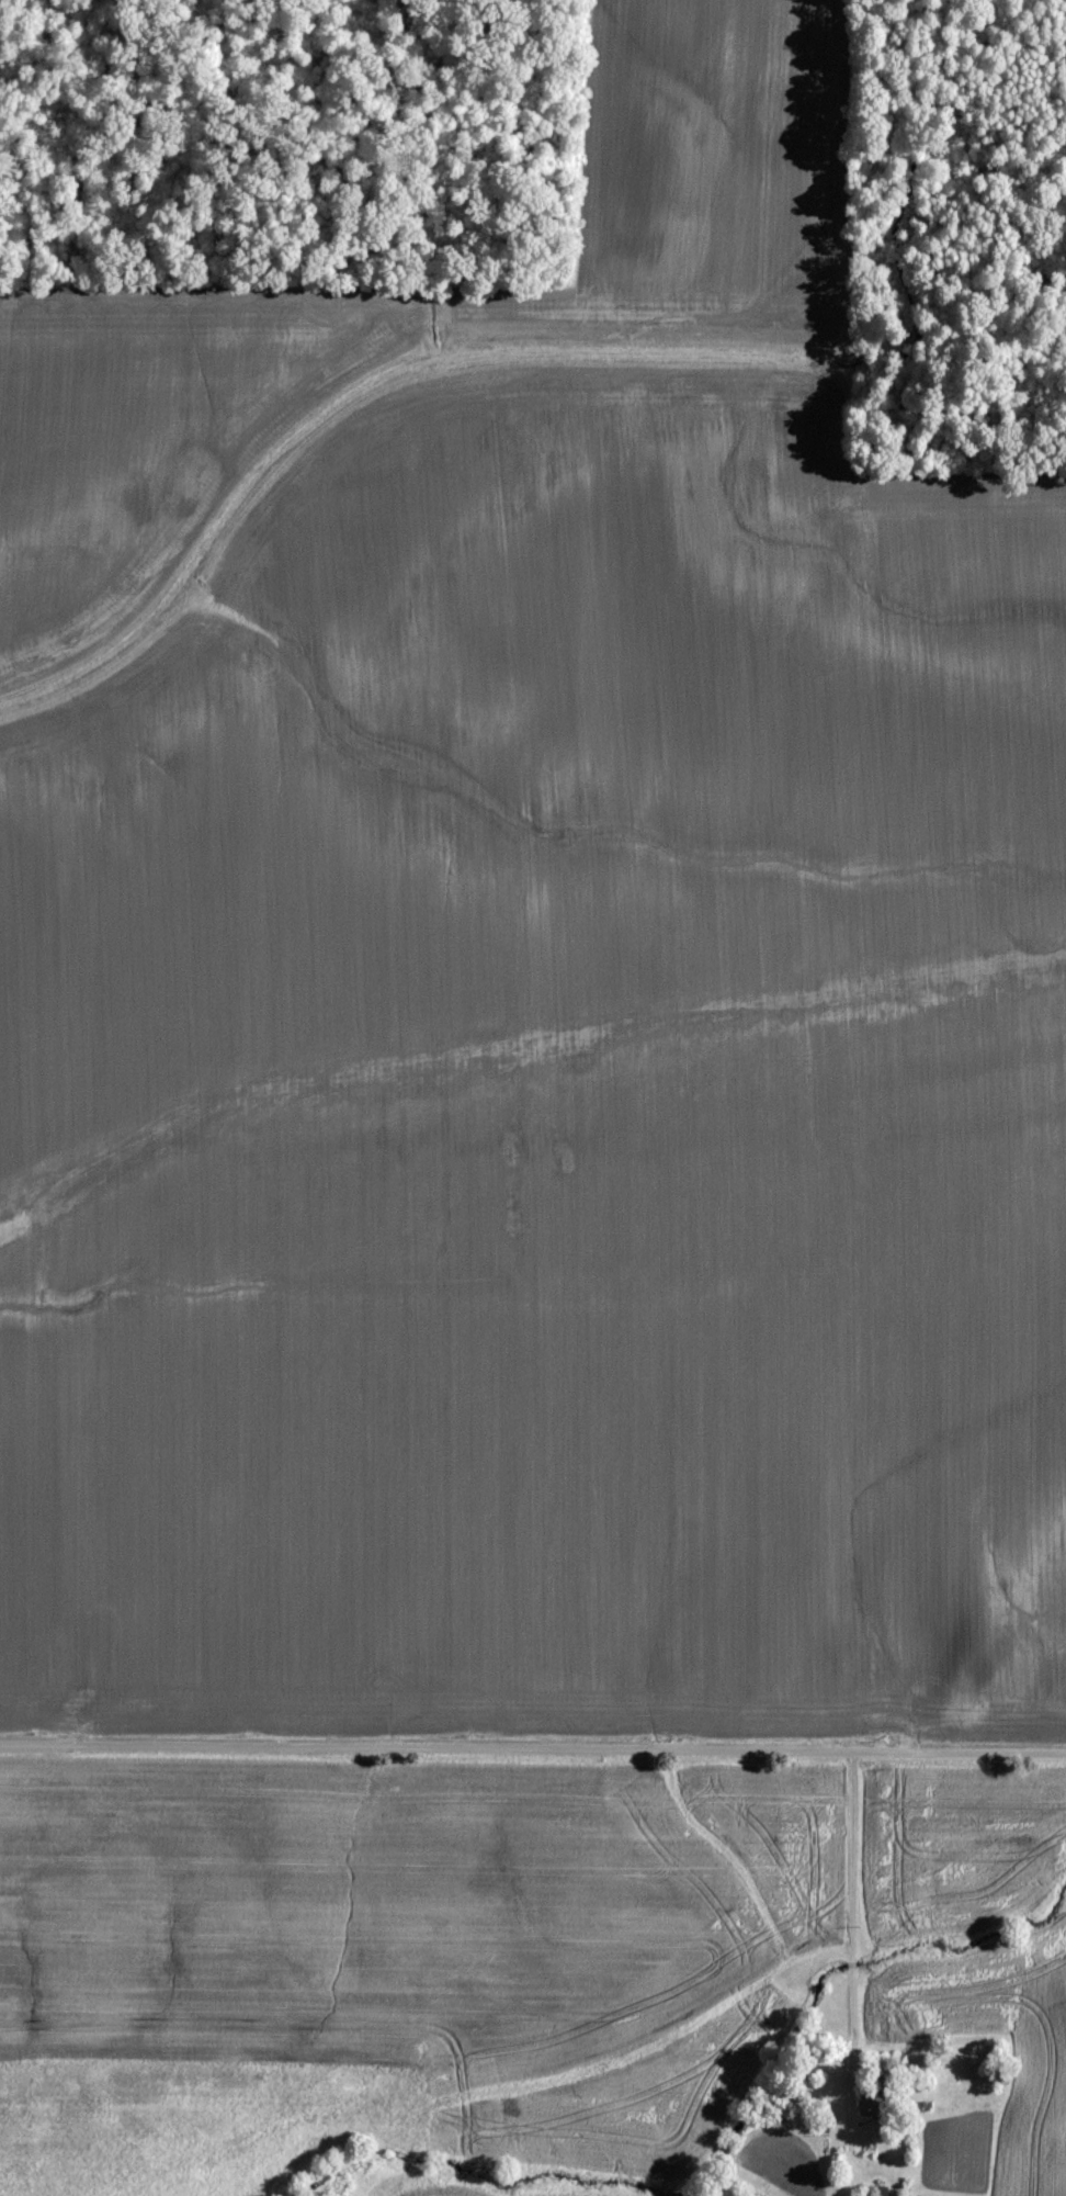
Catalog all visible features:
road: (532, 1747)
road: (852, 1942)

